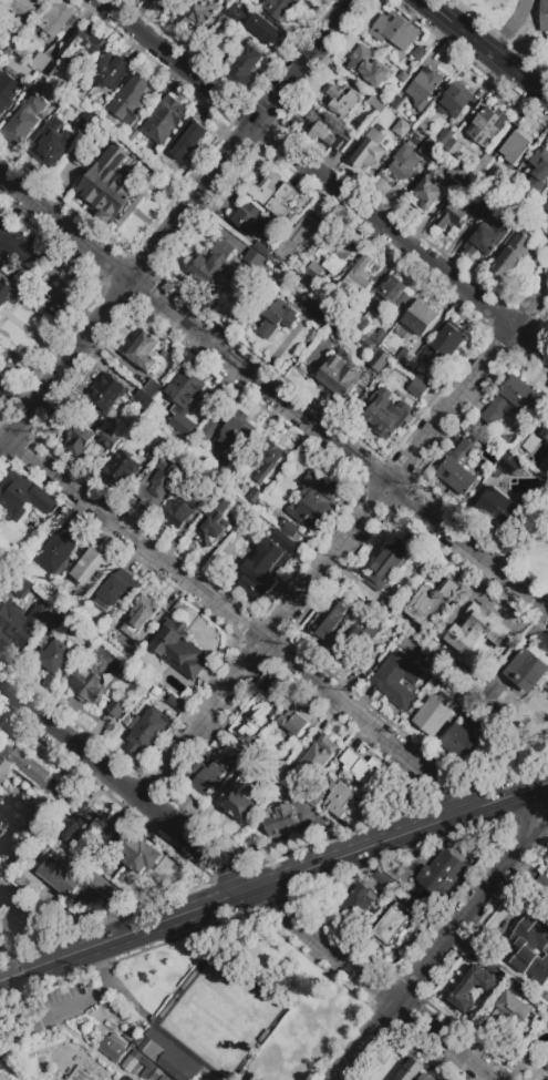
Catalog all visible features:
building: (1, 1)
building: (227, 1)
road: (350, 3)
building: (23, 7)
building: (169, 7)
building: (280, 7)
building: (201, 12)
building: (234, 14)
building: (544, 17)
building: (58, 20)
road: (510, 26)
road: (75, 28)
building: (266, 30)
building: (394, 31)
building: (216, 39)
building: (83, 47)
road: (488, 47)
building: (418, 53)
building: (44, 64)
building: (242, 65)
building: (372, 65)
road: (536, 69)
building: (111, 72)
building: (424, 88)
building: (81, 91)
building: (8, 92)
building: (59, 98)
building: (130, 100)
building: (455, 101)
building: (395, 102)
building: (376, 104)
building: (344, 105)
building: (164, 120)
building: (24, 121)
building: (85, 121)
building: (487, 125)
building: (403, 129)
building: (325, 131)
building: (94, 133)
building: (132, 136)
building: (444, 139)
building: (186, 140)
building: (51, 143)
building: (515, 147)
building: (369, 150)
building: (430, 150)
building: (455, 150)
building: (79, 155)
building: (404, 163)
building: (539, 171)
building: (458, 173)
road: (323, 179)
building: (111, 185)
road: (3, 189)
building: (428, 192)
building: (272, 194)
building: (545, 204)
building: (500, 206)
road: (164, 208)
building: (453, 215)
building: (246, 217)
road: (174, 226)
building: (353, 227)
building: (531, 227)
building: (303, 234)
road: (188, 237)
building: (487, 240)
building: (261, 249)
building: (334, 256)
building: (513, 256)
building: (254, 258)
building: (213, 263)
building: (297, 272)
building: (314, 272)
building: (358, 275)
building: (11, 289)
building: (391, 298)
building: (290, 299)
building: (317, 309)
building: (421, 317)
building: (350, 318)
building: (277, 319)
building: (362, 323)
building: (376, 336)
building: (445, 343)
building: (144, 353)
building: (374, 355)
building: (407, 359)
building: (338, 377)
building: (422, 377)
building: (418, 388)
building: (152, 389)
building: (106, 393)
road: (273, 394)
building: (142, 399)
building: (211, 399)
building: (184, 401)
building: (514, 401)
building: (386, 412)
building: (208, 429)
building: (544, 430)
building: (141, 431)
building: (235, 434)
building: (76, 437)
building: (108, 441)
building: (533, 444)
building: (265, 461)
building: (508, 463)
building: (459, 469)
building: (121, 470)
building: (229, 471)
building: (158, 485)
building: (24, 497)
building: (256, 500)
building: (314, 502)
building: (182, 508)
building: (500, 510)
building: (213, 524)
road: (344, 542)
building: (56, 549)
building: (12, 563)
building: (386, 566)
building: (263, 570)
building: (82, 574)
building: (23, 589)
building: (117, 590)
building: (430, 601)
building: (387, 610)
building: (476, 618)
building: (139, 619)
building: (329, 619)
building: (55, 621)
building: (19, 623)
road: (241, 626)
building: (362, 643)
building: (178, 650)
building: (434, 650)
building: (61, 652)
building: (527, 669)
building: (94, 677)
building: (397, 679)
building: (492, 696)
building: (176, 703)
building: (116, 709)
building: (252, 715)
building: (433, 715)
building: (478, 719)
building: (293, 723)
building: (146, 731)
building: (461, 743)
building: (232, 752)
building: (259, 754)
building: (317, 757)
building: (363, 768)
building: (33, 774)
building: (207, 777)
road: (126, 791)
building: (285, 793)
building: (313, 797)
building: (339, 801)
building: (238, 802)
building: (281, 822)
building: (74, 823)
road: (527, 825)
road: (400, 839)
road: (533, 839)
building: (8, 849)
building: (139, 856)
building: (441, 875)
building: (383, 879)
building: (27, 883)
building: (69, 884)
building: (402, 895)
building: (356, 905)
building: (392, 926)
road: (125, 937)
building: (533, 950)
building: (490, 966)
road: (425, 967)
road: (101, 968)
building: (188, 980)
road: (371, 986)
building: (472, 988)
building: (261, 992)
parking lot: (68, 994)
park: (247, 1001)
building: (514, 1006)
building: (167, 1008)
road: (52, 1013)
park: (218, 1019)
building: (263, 1036)
road: (54, 1043)
road: (77, 1045)
road: (89, 1048)
building: (112, 1048)
building: (168, 1057)
building: (132, 1061)
building: (547, 1066)
road: (75, 1068)
road: (20, 1070)
road: (10, 1071)
road: (91, 1072)
road: (110, 1073)
building: (149, 1073)
road: (54, 1074)
road: (3, 1077)
building: (414, 1077)
road: (111, 1078)
building: (164, 1078)

